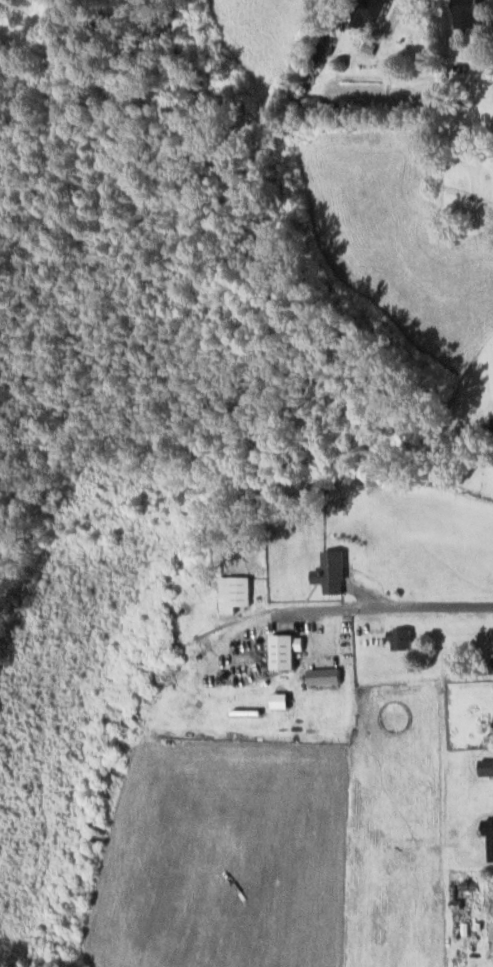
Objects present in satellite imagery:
building: (375, 11)
building: (470, 13)
building: (334, 570)
building: (237, 592)
road: (358, 605)
building: (403, 636)
building: (289, 649)
building: (328, 675)
building: (284, 699)
building: (487, 766)

